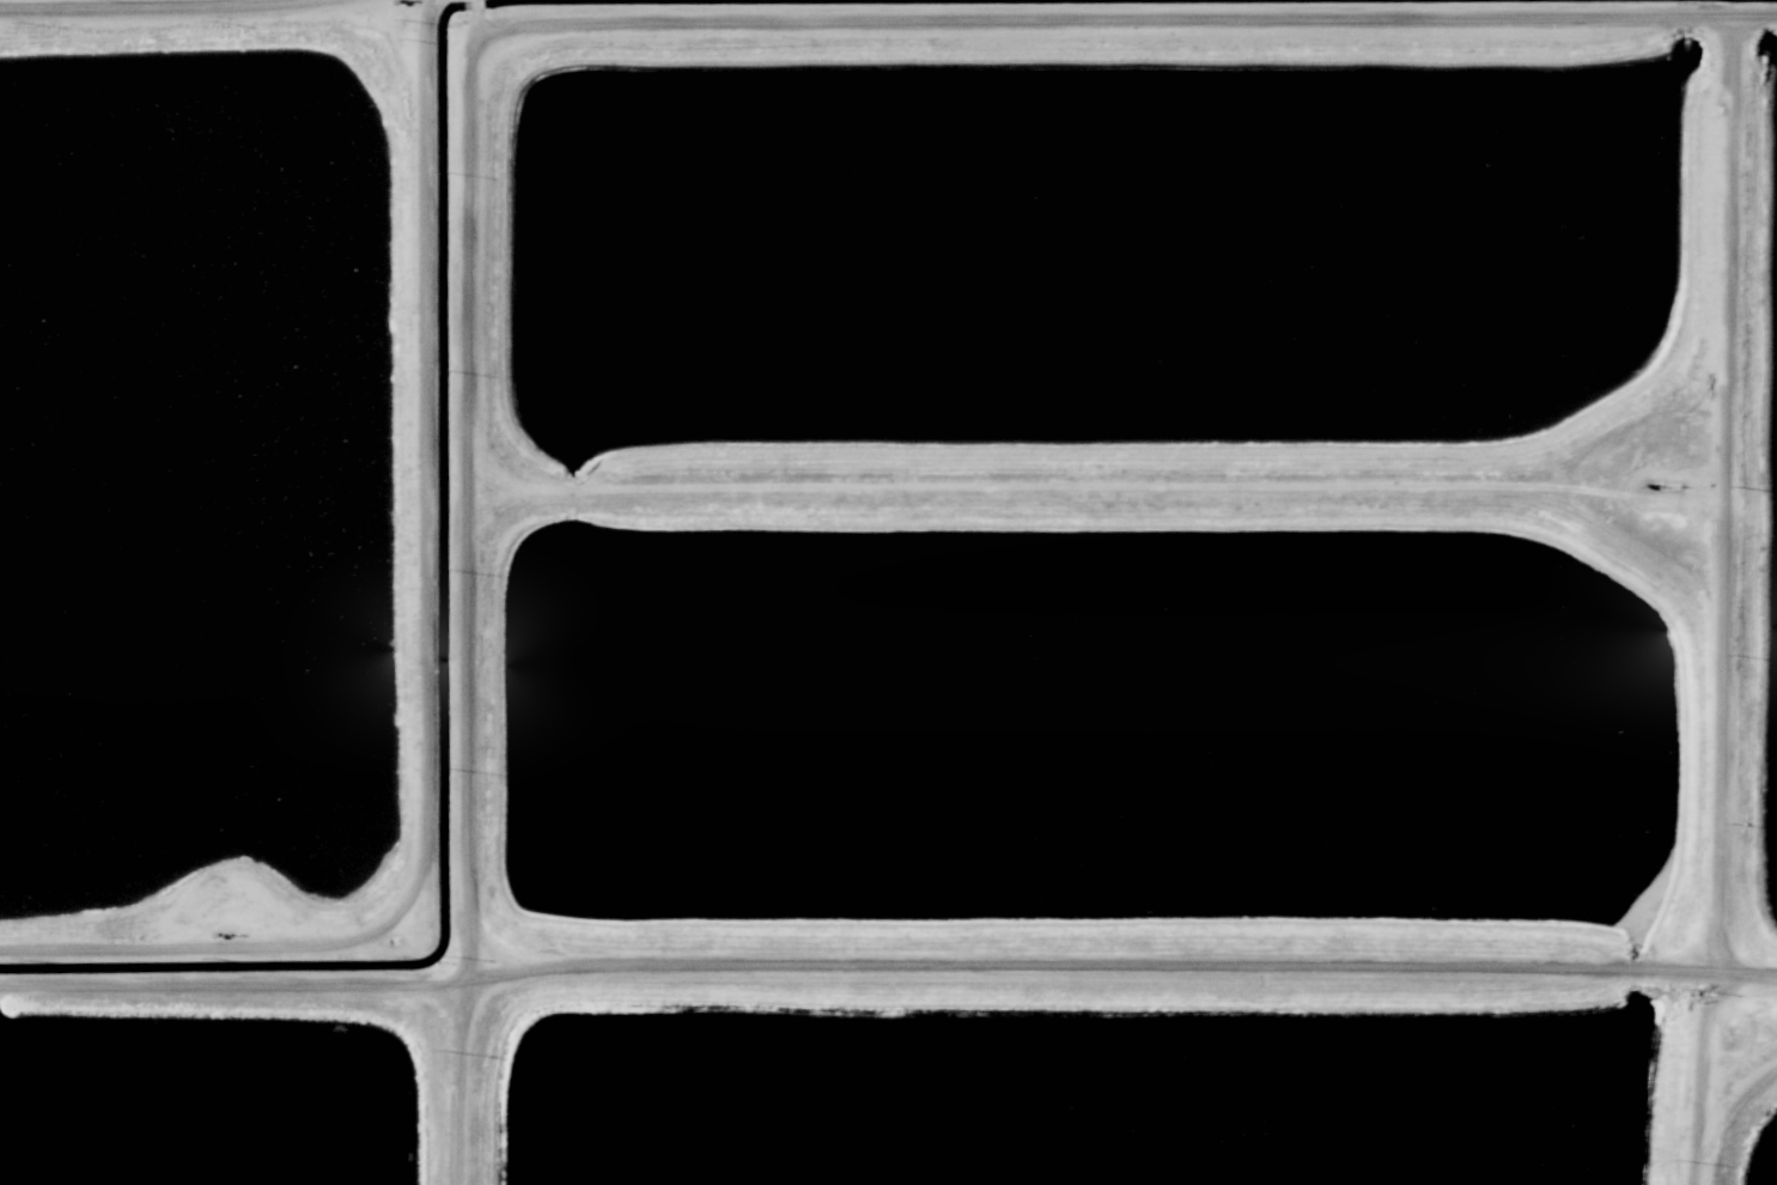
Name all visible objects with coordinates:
road: (164, 7)
road: (476, 13)
road: (548, 26)
wastewater plant: (1100, 250)
road: (1662, 442)
wastewater plant: (189, 478)
road: (1109, 481)
wastewater plant: (1770, 528)
wastewater plant: (888, 592)
road: (1721, 598)
road: (426, 662)
wastewater plant: (1089, 724)
road: (887, 964)
wastewater plant: (1065, 1088)
wastewater plant: (189, 1112)
wastewater plant: (1757, 1144)

